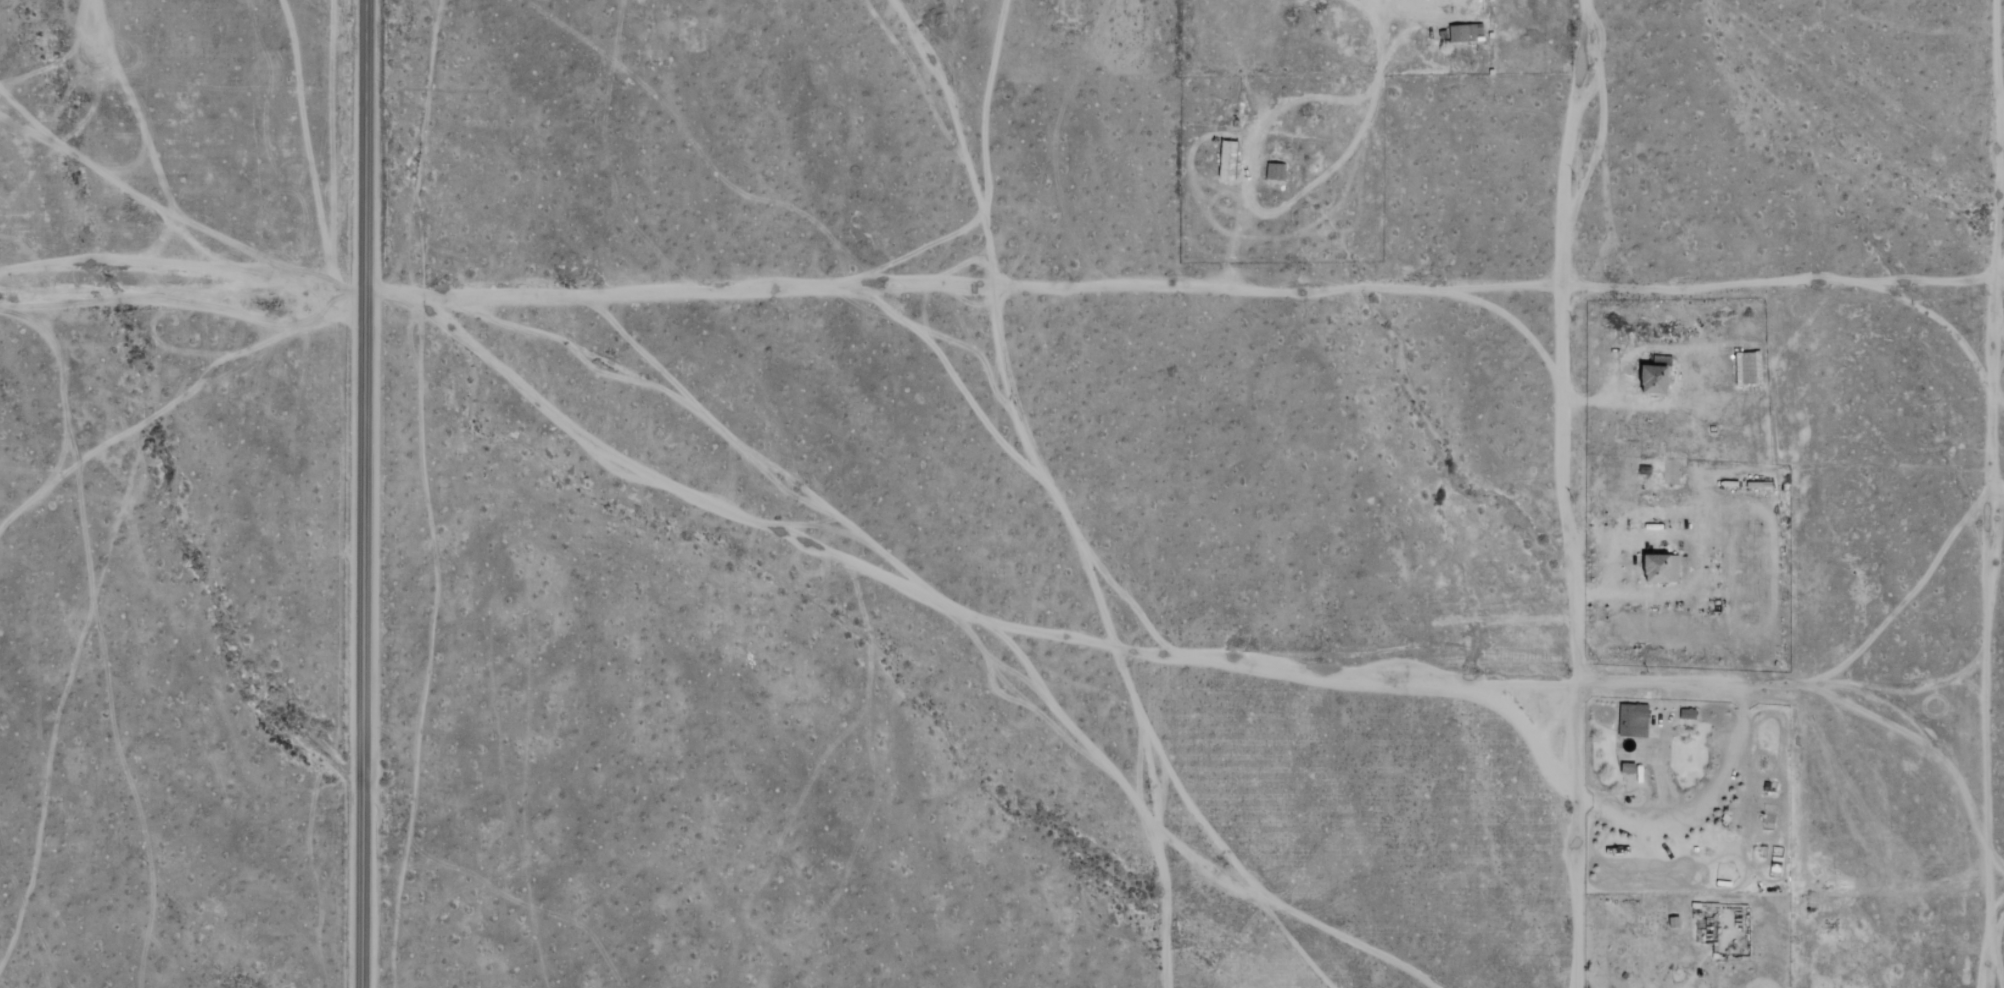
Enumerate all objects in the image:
road: (1381, 9)
road: (2003, 12)
building: (1477, 32)
building: (1460, 33)
road: (1379, 38)
building: (1228, 160)
building: (1275, 172)
road: (1247, 195)
road: (181, 292)
road: (1183, 293)
building: (1655, 379)
road: (1601, 401)
road: (1989, 489)
road: (362, 493)
road: (1568, 493)
road: (1603, 587)
road: (1979, 654)
road: (1809, 686)
building: (1688, 715)
building: (1633, 720)
building: (1627, 768)
road: (1700, 805)
road: (1992, 882)

